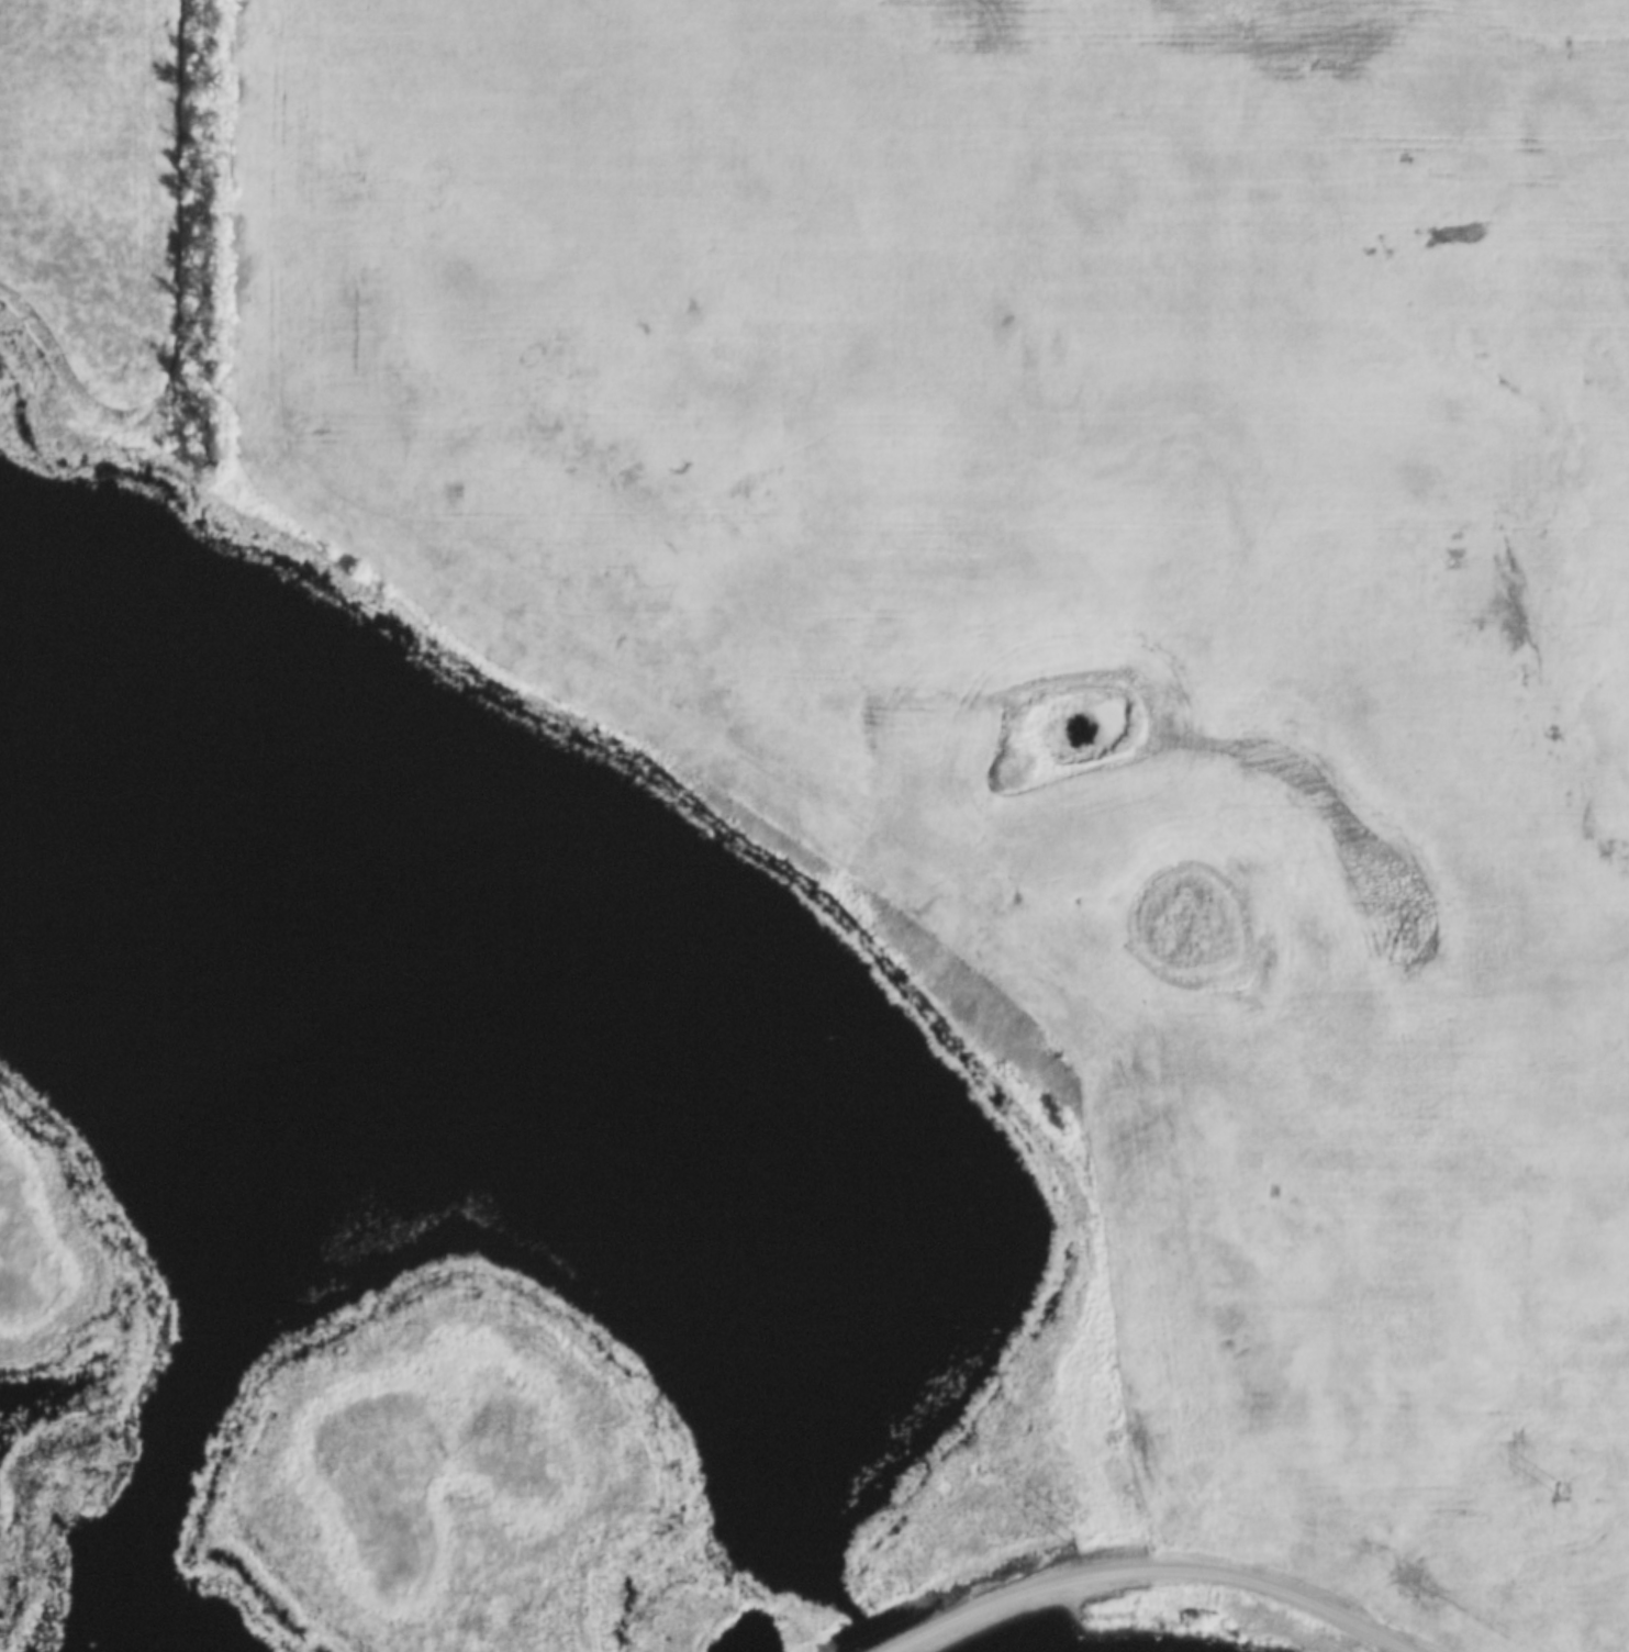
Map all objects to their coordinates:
power tower: (1558, 1494)
power tower: (1070, 1534)
road: (1152, 1570)

